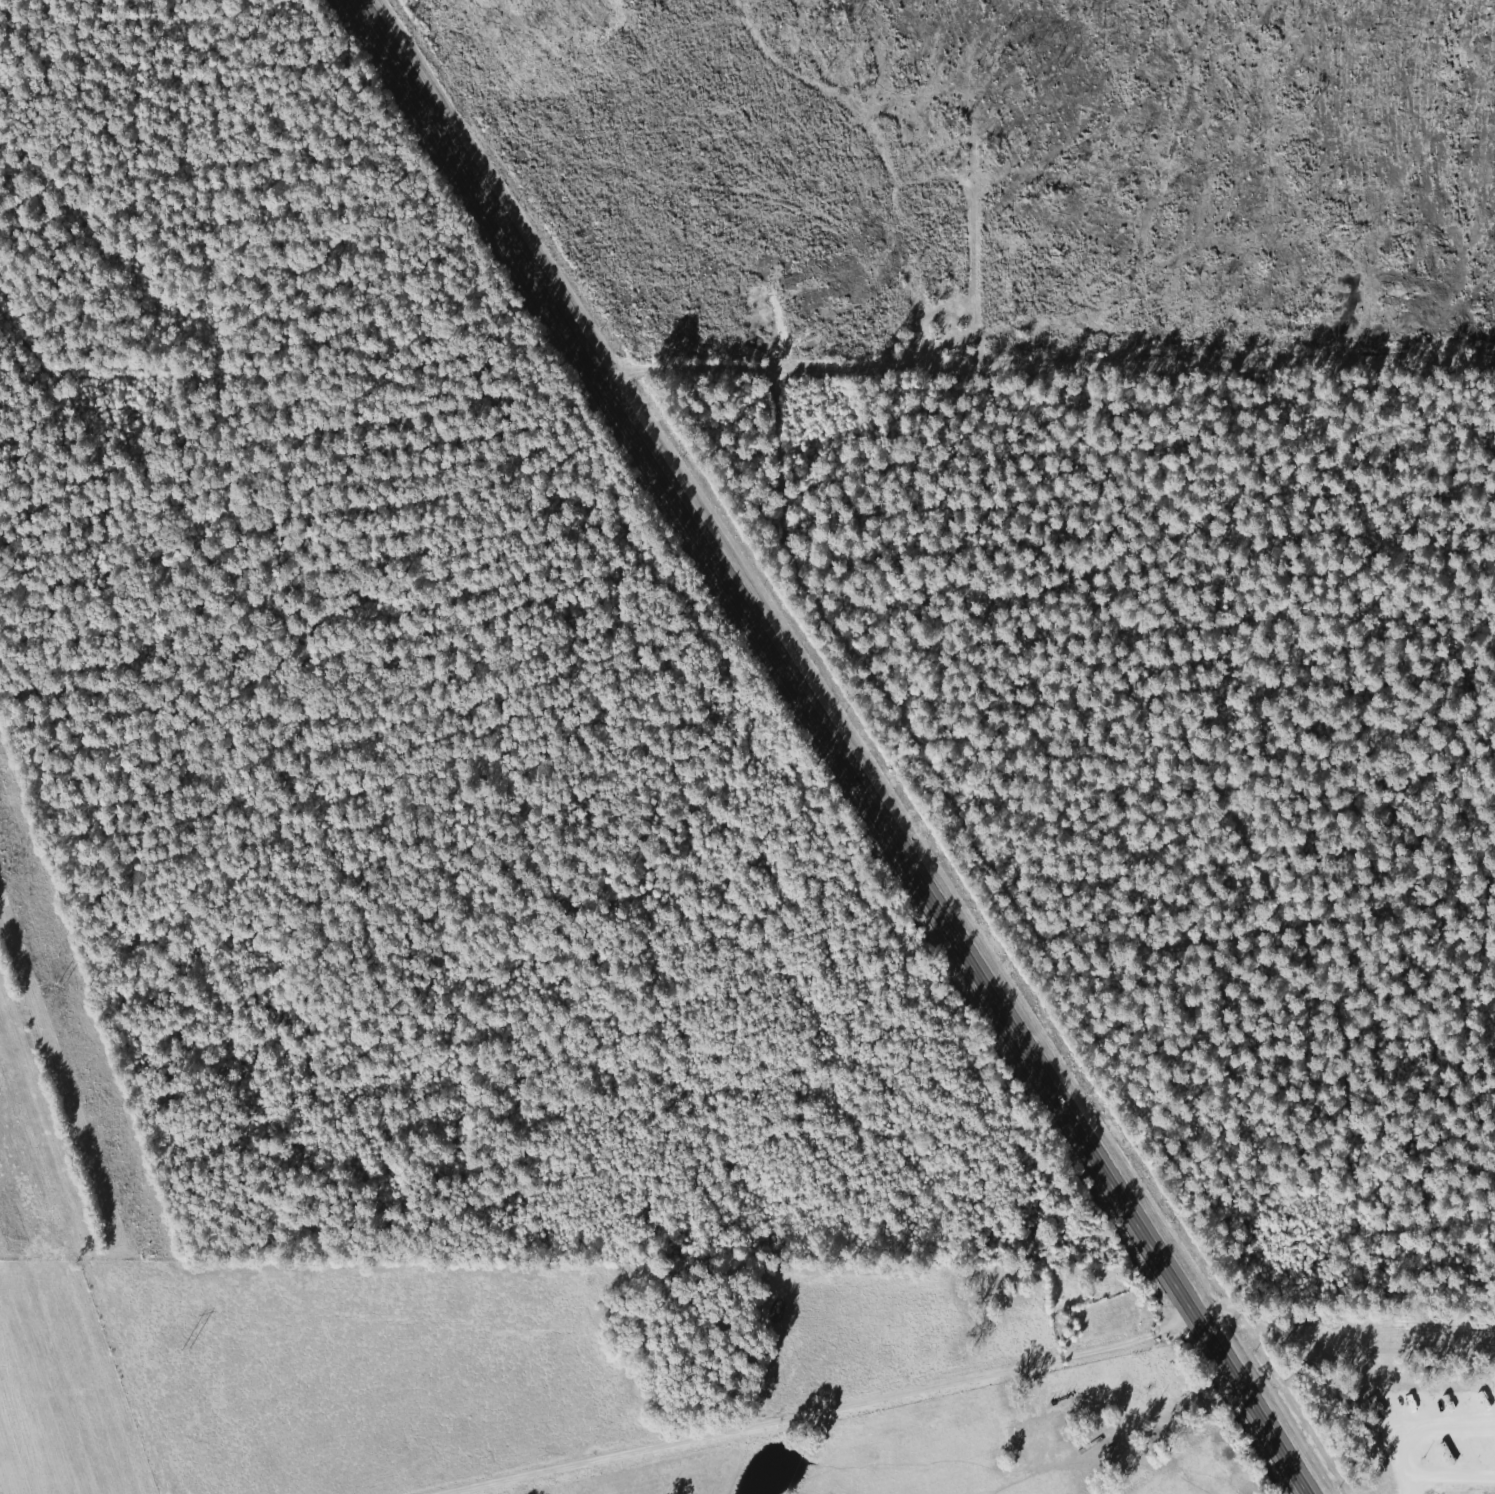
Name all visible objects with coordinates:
road: (1044, 373)
road: (826, 748)
power tower: (60, 987)
power tower: (187, 1348)
road: (814, 1411)

